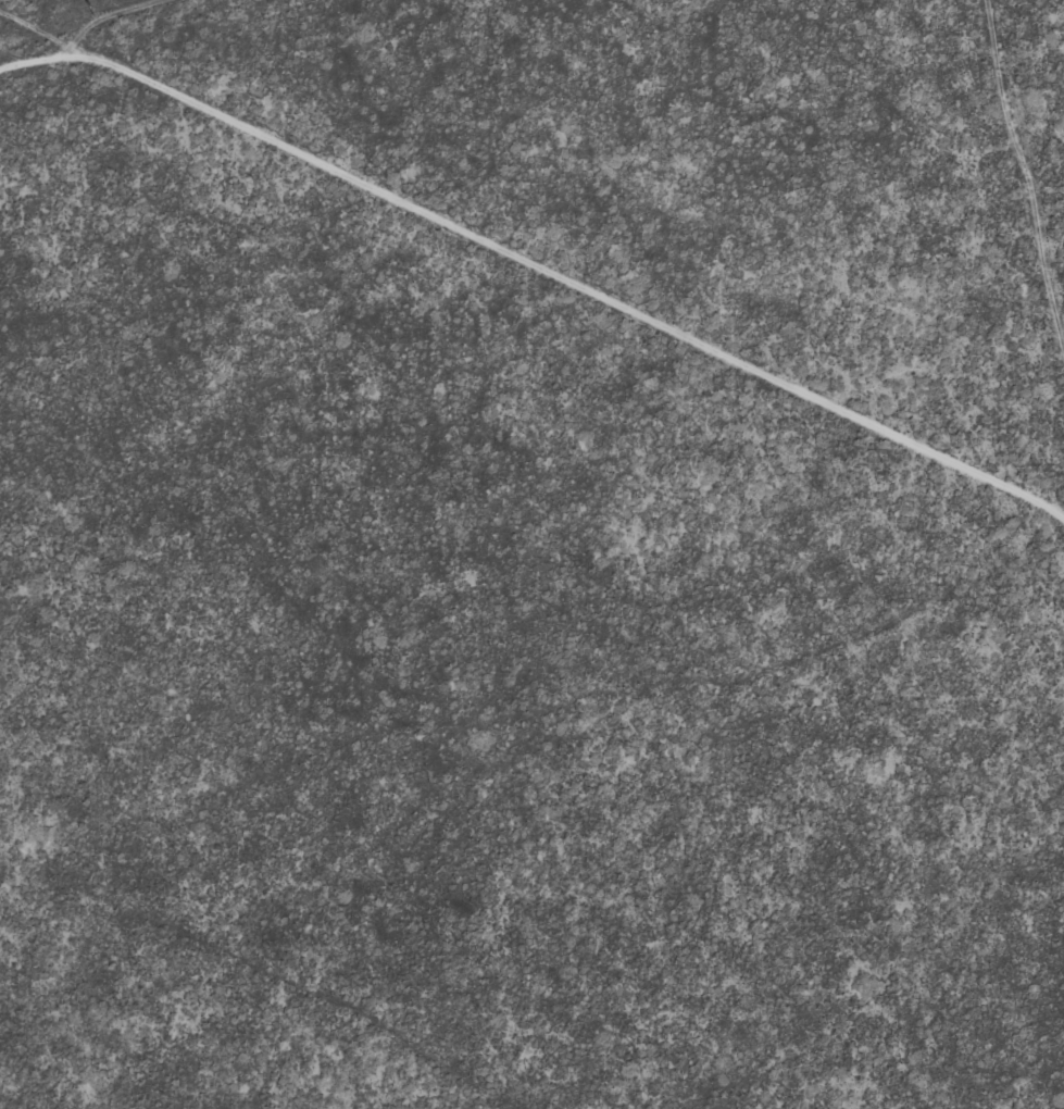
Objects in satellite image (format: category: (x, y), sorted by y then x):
power tower: (85, 11)
road: (1043, 107)
road: (531, 407)

